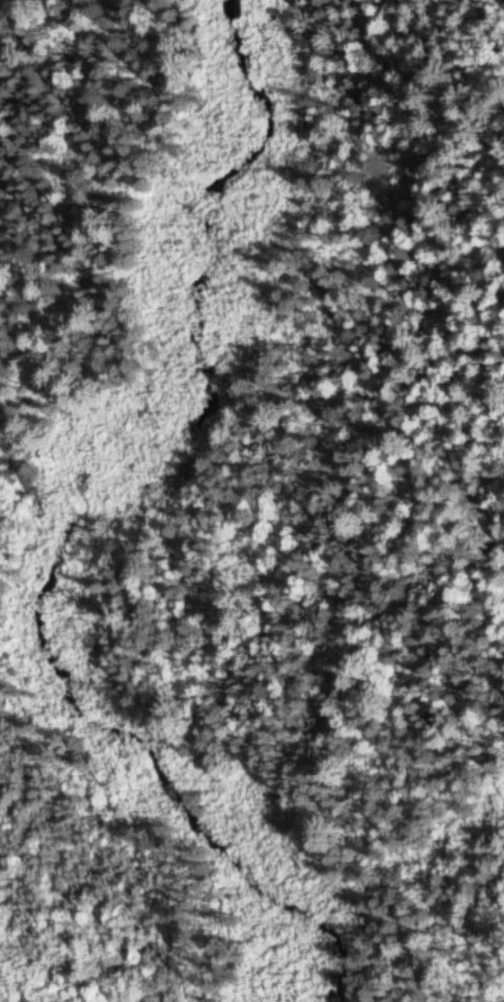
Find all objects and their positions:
road: (488, 992)

